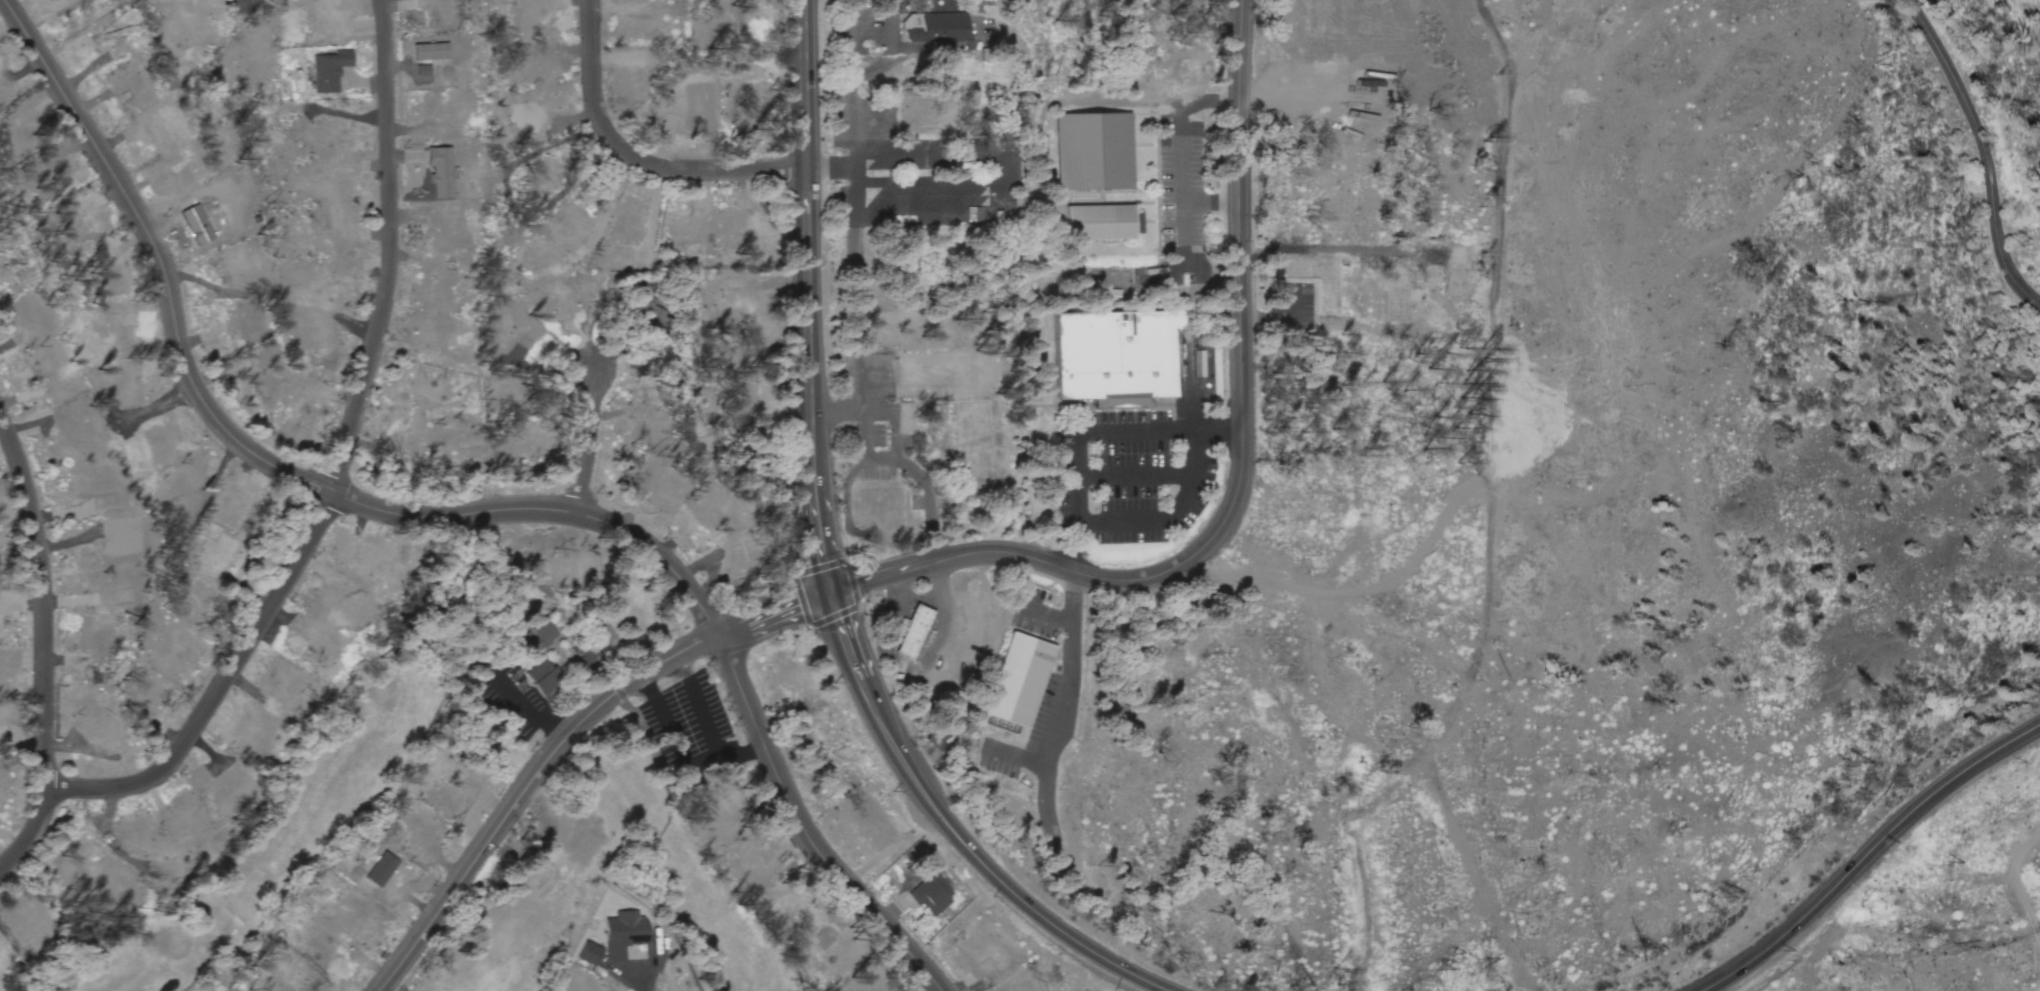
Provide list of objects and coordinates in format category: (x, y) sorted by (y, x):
building: (937, 30)
building: (914, 111)
road: (1983, 150)
building: (1091, 152)
road: (636, 157)
parking lot: (930, 183)
road: (926, 185)
road: (986, 213)
building: (1098, 225)
building: (1316, 281)
building: (1116, 359)
building: (945, 373)
building: (1211, 408)
building: (973, 434)
road: (590, 446)
road: (341, 467)
road: (1241, 474)
road: (1132, 477)
parking lot: (1127, 478)
road: (1075, 493)
building: (881, 513)
road: (452, 517)
road: (826, 568)
building: (907, 632)
gas station: (907, 632)
road: (45, 648)
building: (1019, 683)
road: (565, 742)
road: (1867, 852)
building: (929, 896)

